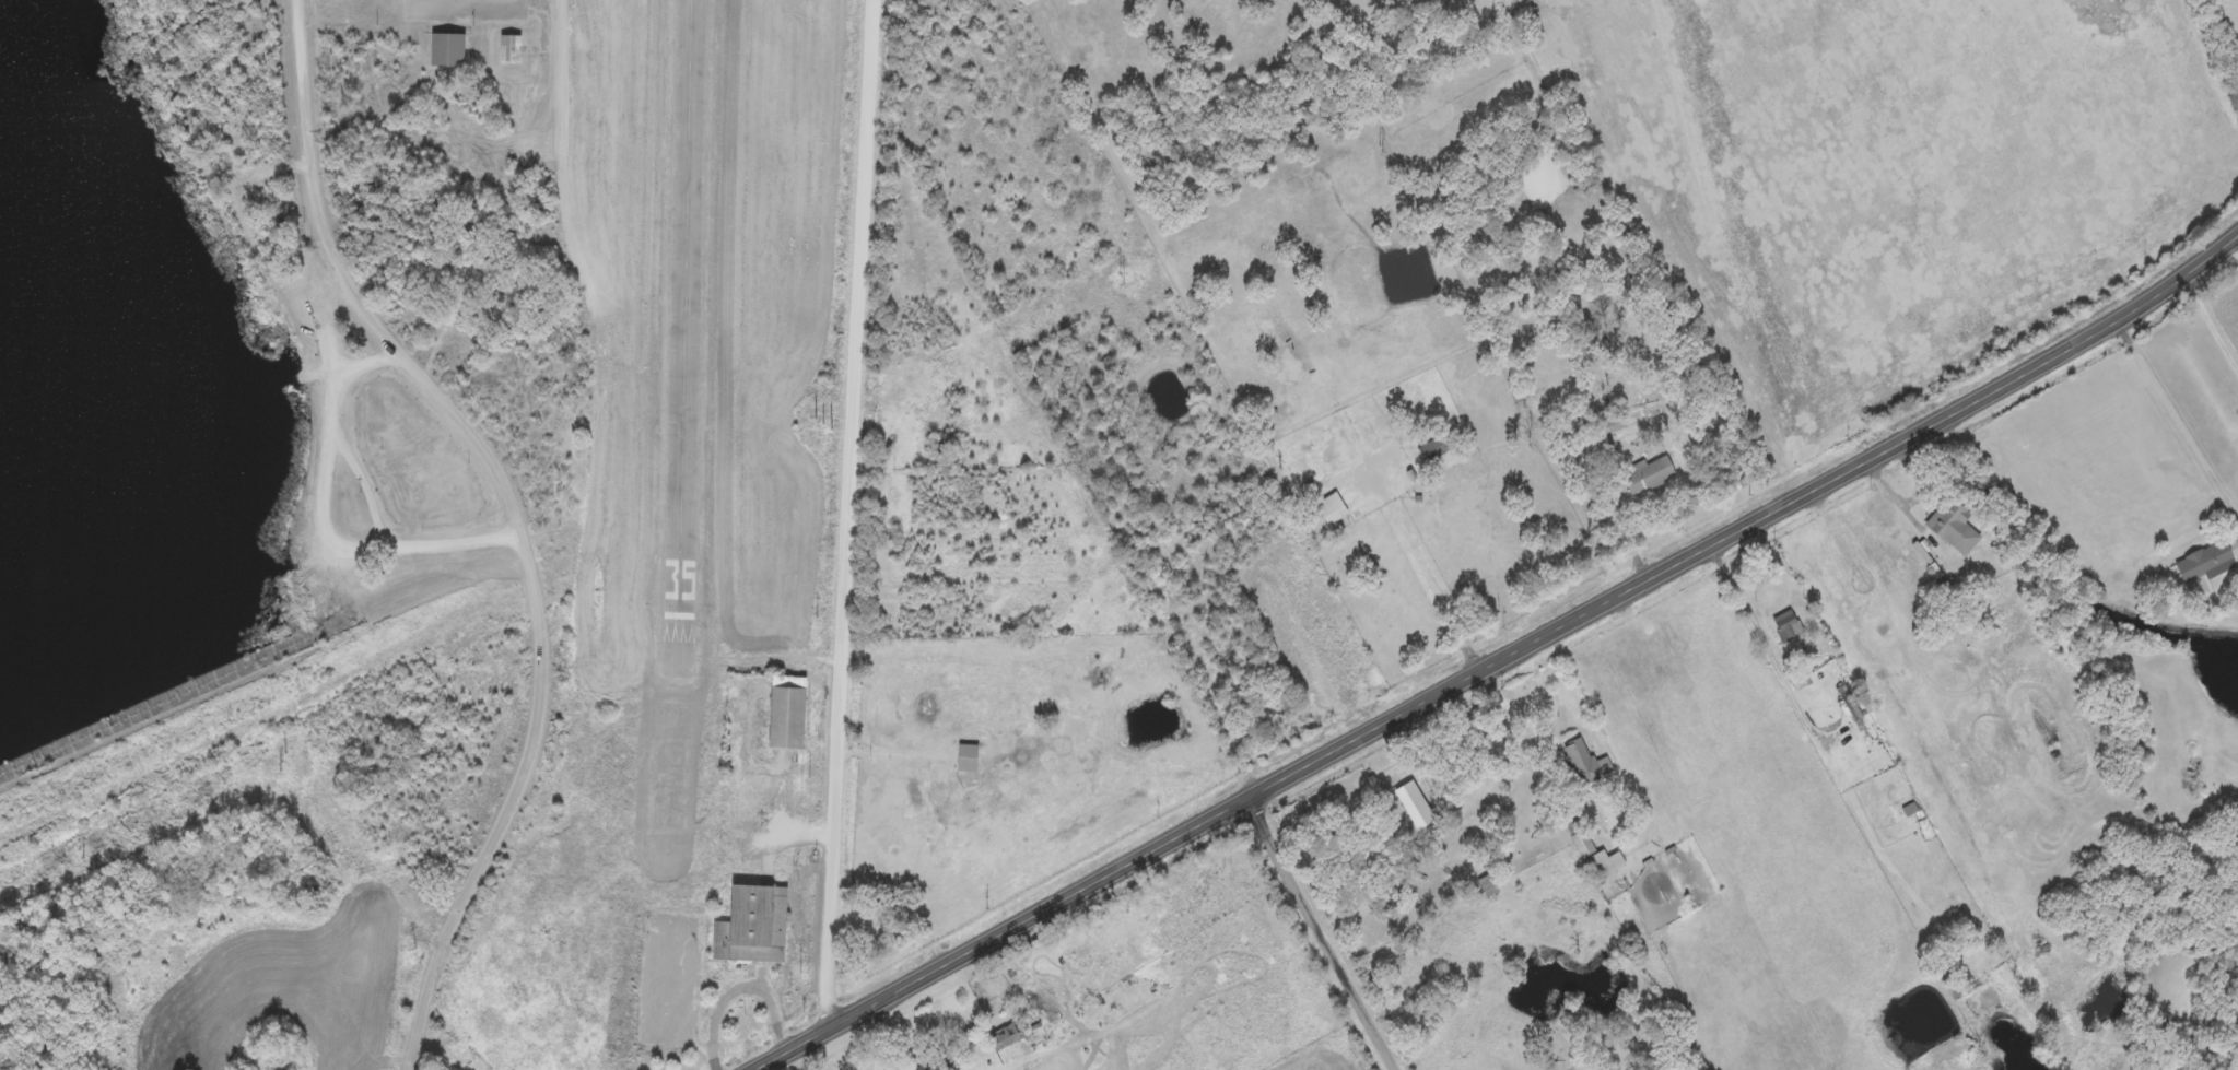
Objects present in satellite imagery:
building: (508, 48)
building: (446, 49)
power tower: (1379, 149)
power tower: (1121, 280)
airport runway: (684, 334)
road: (377, 367)
power tower: (823, 424)
building: (1616, 426)
building: (1437, 449)
building: (1650, 477)
building: (1333, 510)
road: (855, 515)
building: (1954, 529)
building: (2235, 550)
building: (2206, 565)
power tower: (817, 618)
building: (1789, 628)
road: (1505, 660)
road: (543, 705)
building: (786, 713)
building: (968, 760)
power tower: (281, 762)
building: (1586, 762)
power tower: (810, 778)
building: (1415, 807)
building: (1583, 846)
power tower: (81, 855)
building: (1605, 868)
building: (1489, 887)
building: (752, 924)
road: (1325, 934)
power tower: (414, 946)
power tower: (799, 972)
building: (1004, 1039)

